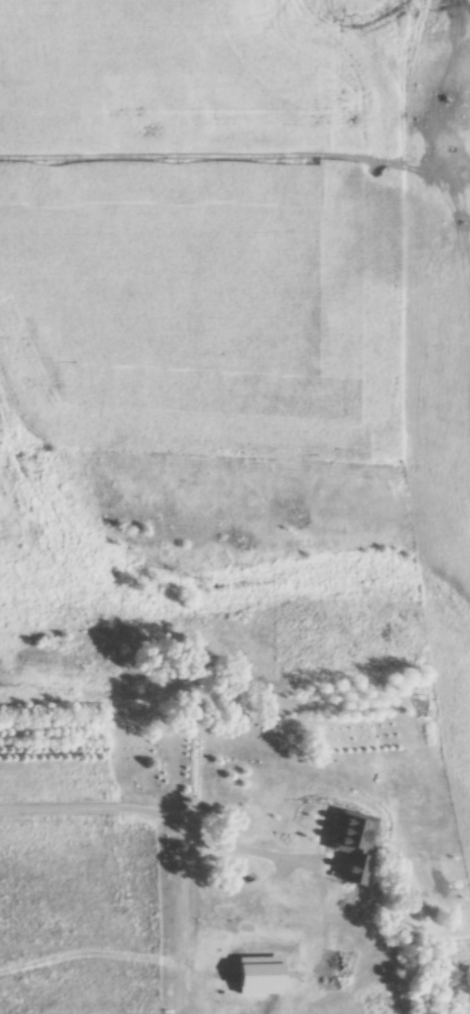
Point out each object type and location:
road: (158, 814)
building: (353, 842)

